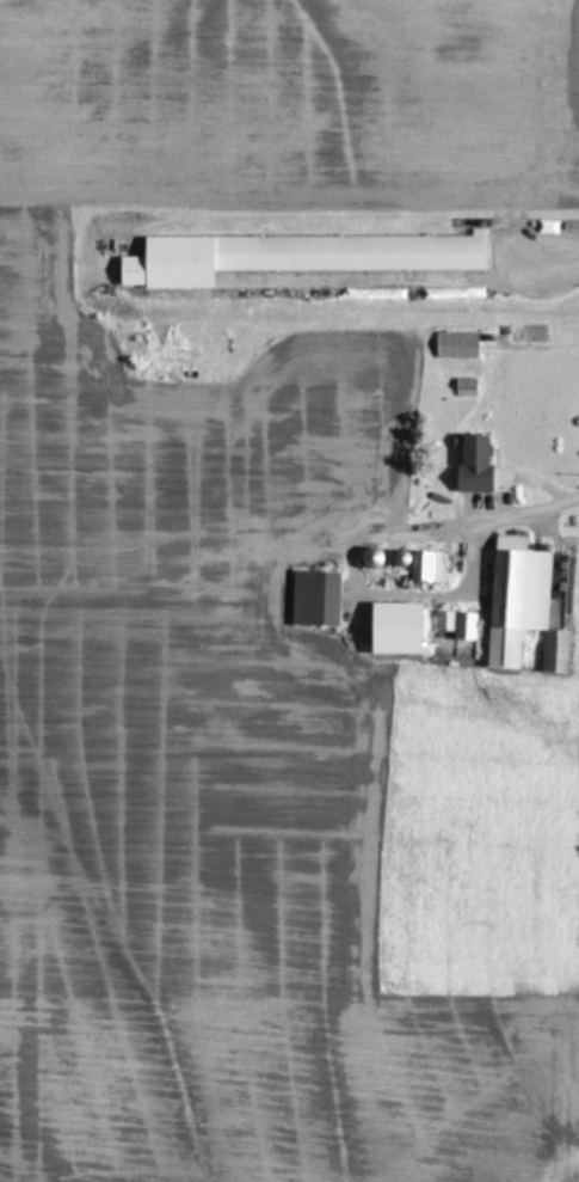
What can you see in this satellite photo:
building: (296, 253)
building: (458, 342)
building: (467, 385)
building: (480, 460)
road: (525, 508)
building: (427, 562)
building: (318, 594)
building: (518, 594)
building: (460, 619)
building: (400, 623)
building: (559, 647)

